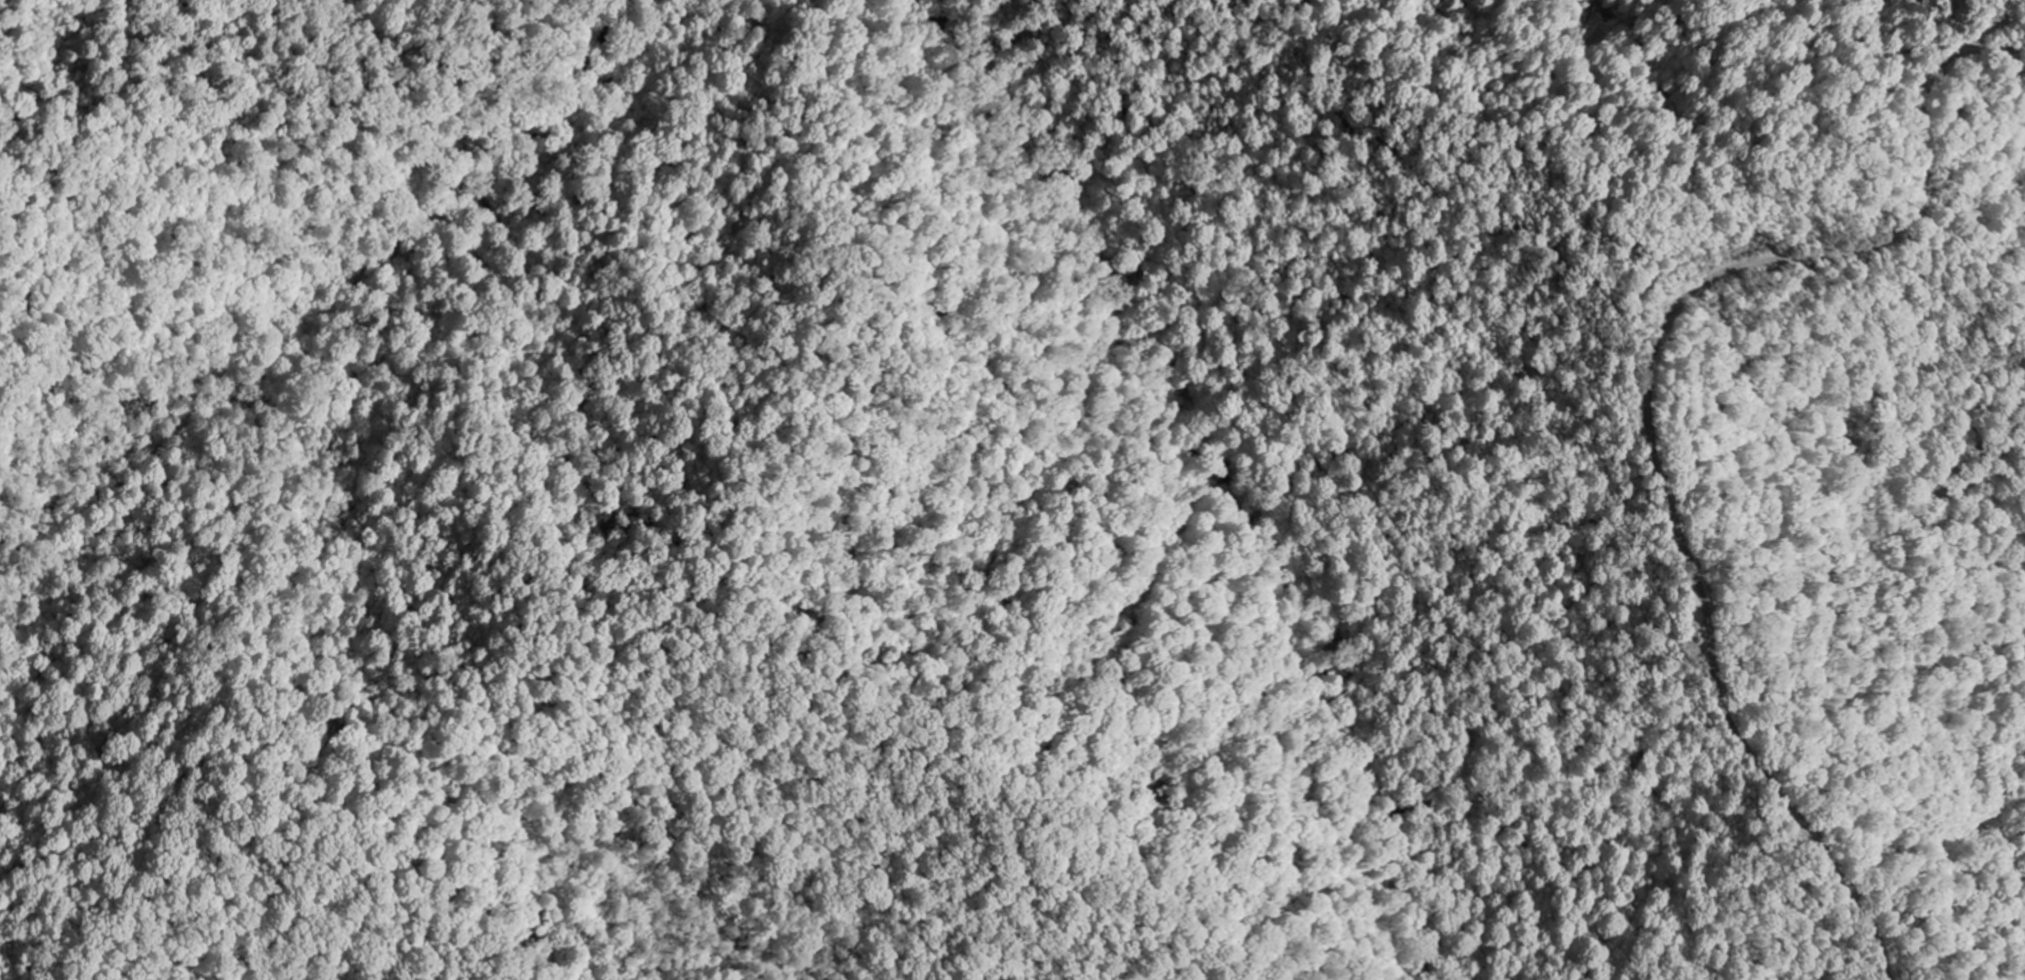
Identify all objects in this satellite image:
road: (1647, 417)

